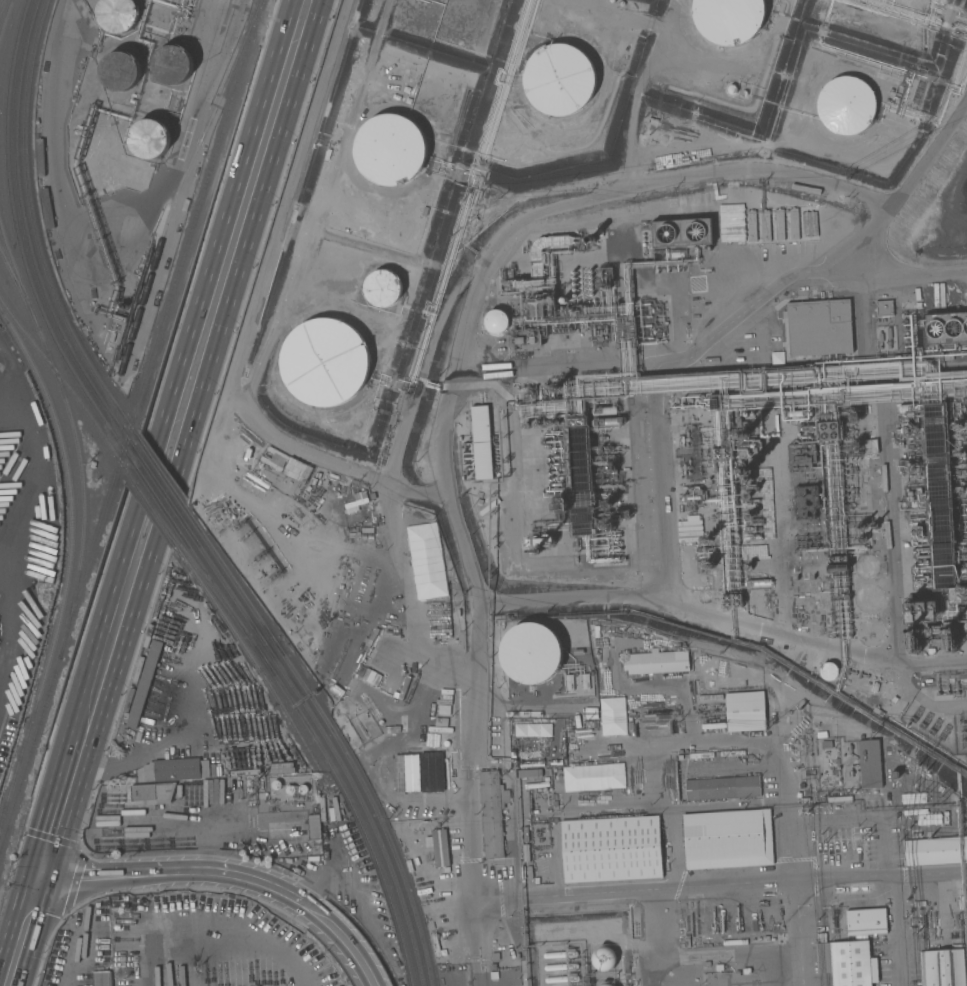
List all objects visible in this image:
building: (172, 0)
railway: (2, 5)
storage tank: (116, 13)
building: (116, 15)
storage tank: (117, 15)
building: (727, 18)
railway: (6, 20)
storage tank: (171, 61)
storage tank: (173, 64)
building: (171, 65)
storage tank: (120, 70)
building: (120, 71)
building: (558, 79)
building: (731, 89)
building: (743, 93)
building: (845, 104)
storage tank: (148, 136)
storage tank: (149, 138)
building: (149, 139)
building: (390, 149)
railway: (180, 185)
railway: (11, 196)
railway: (199, 210)
railway: (34, 218)
building: (794, 223)
railway: (25, 224)
building: (779, 225)
building: (751, 226)
building: (765, 226)
building: (682, 232)
building: (590, 239)
building: (558, 241)
building: (760, 259)
building: (536, 273)
building: (510, 277)
road: (915, 277)
railway: (18, 287)
building: (383, 287)
building: (563, 300)
building: (918, 304)
building: (539, 307)
building: (884, 308)
railway: (15, 319)
building: (650, 320)
building: (497, 322)
building: (945, 328)
building: (817, 329)
building: (888, 332)
building: (880, 336)
building: (525, 340)
building: (718, 352)
road: (687, 356)
building: (324, 361)
railway: (81, 402)
building: (714, 404)
building: (909, 408)
railway: (98, 410)
building: (604, 410)
building: (800, 413)
building: (854, 416)
building: (794, 420)
building: (576, 422)
building: (607, 422)
building: (956, 425)
railway: (131, 426)
building: (807, 428)
building: (915, 429)
building: (829, 430)
building: (904, 430)
railway: (74, 434)
building: (743, 434)
road: (173, 435)
railway: (126, 436)
building: (481, 442)
building: (856, 446)
railway: (122, 447)
road: (878, 447)
building: (554, 448)
building: (749, 449)
building: (961, 452)
building: (689, 453)
building: (723, 453)
building: (801, 456)
building: (554, 457)
building: (605, 458)
building: (917, 461)
building: (609, 467)
road: (340, 468)
road: (768, 469)
building: (746, 471)
railway: (130, 474)
railway: (163, 474)
building: (579, 477)
building: (557, 478)
building: (557, 484)
railway: (159, 485)
building: (964, 490)
railway: (155, 494)
building: (694, 496)
building: (747, 496)
building: (939, 497)
building: (809, 501)
building: (561, 502)
building: (606, 504)
road: (26, 511)
railway: (158, 512)
railway: (157, 514)
building: (615, 515)
building: (748, 516)
building: (607, 525)
building: (873, 525)
building: (861, 526)
building: (917, 532)
building: (620, 534)
building: (752, 538)
railway: (98, 539)
building: (707, 539)
building: (861, 539)
building: (546, 540)
building: (536, 541)
building: (613, 542)
building: (805, 544)
road: (461, 545)
building: (922, 548)
building: (613, 550)
building: (963, 552)
building: (922, 556)
building: (837, 559)
building: (708, 566)
building: (866, 567)
railway: (72, 568)
building: (837, 568)
building: (921, 571)
building: (806, 577)
building: (758, 582)
railway: (214, 587)
building: (963, 589)
building: (731, 600)
building: (819, 606)
building: (921, 607)
road: (722, 615)
building: (912, 643)
building: (949, 643)
building: (532, 653)
storage tank: (532, 653)
building: (655, 662)
building: (327, 671)
building: (828, 672)
building: (963, 677)
building: (145, 684)
building: (745, 711)
railway: (294, 724)
railway: (338, 736)
railway: (331, 742)
road: (195, 748)
railway: (323, 748)
building: (410, 748)
railway: (30, 758)
building: (869, 764)
building: (174, 769)
building: (424, 772)
building: (527, 773)
building: (592, 777)
building: (247, 785)
building: (275, 785)
storage tank: (275, 785)
building: (722, 788)
building: (296, 789)
storage tank: (296, 789)
building: (152, 792)
building: (913, 798)
road: (77, 800)
road: (687, 805)
building: (492, 812)
road: (149, 823)
building: (313, 827)
building: (727, 839)
road: (792, 839)
building: (440, 847)
building: (611, 849)
building: (935, 851)
road: (206, 858)
road: (556, 861)
road: (123, 871)
traffic signals: (43, 873)
building: (536, 880)
road: (302, 905)
building: (865, 921)
road: (475, 922)
road: (24, 929)
road: (898, 932)
road: (800, 934)
road: (480, 936)
building: (559, 954)
building: (603, 960)
building: (847, 962)
road: (482, 963)
road: (473, 964)
building: (560, 967)
building: (941, 968)
building: (101, 978)
building: (561, 979)
building: (606, 984)

